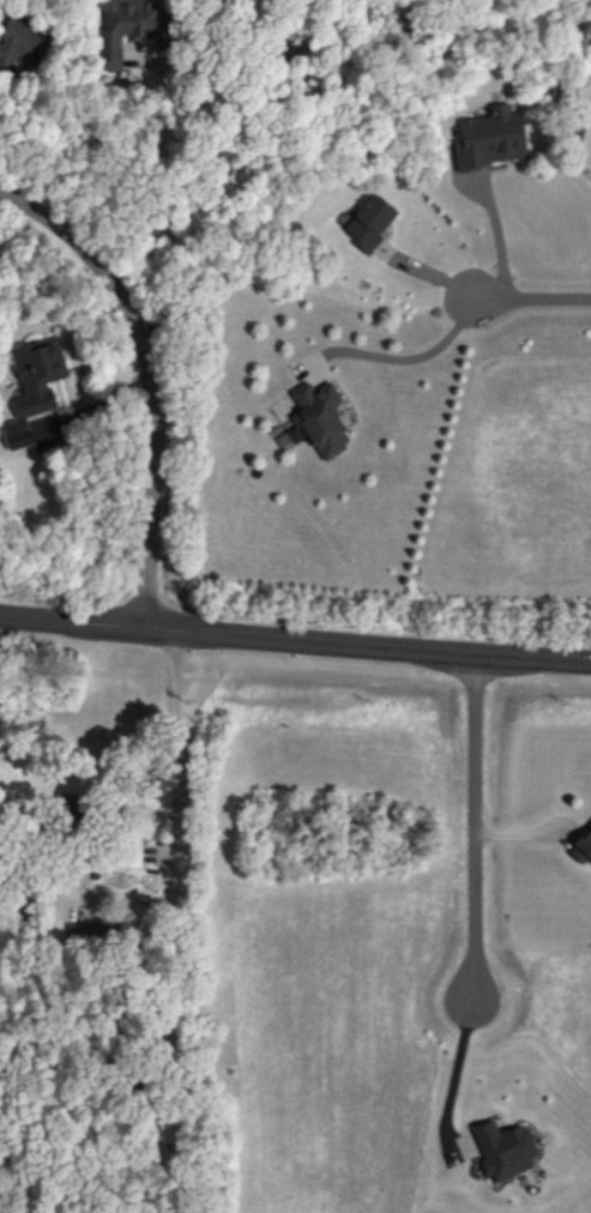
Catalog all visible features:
building: (126, 28)
building: (22, 42)
building: (494, 135)
building: (369, 223)
road: (170, 224)
road: (499, 243)
road: (536, 307)
road: (400, 368)
road: (147, 379)
building: (34, 386)
building: (316, 421)
road: (295, 642)
road: (179, 809)
road: (474, 828)
building: (585, 843)
road: (177, 994)
road: (457, 1085)
building: (505, 1148)

